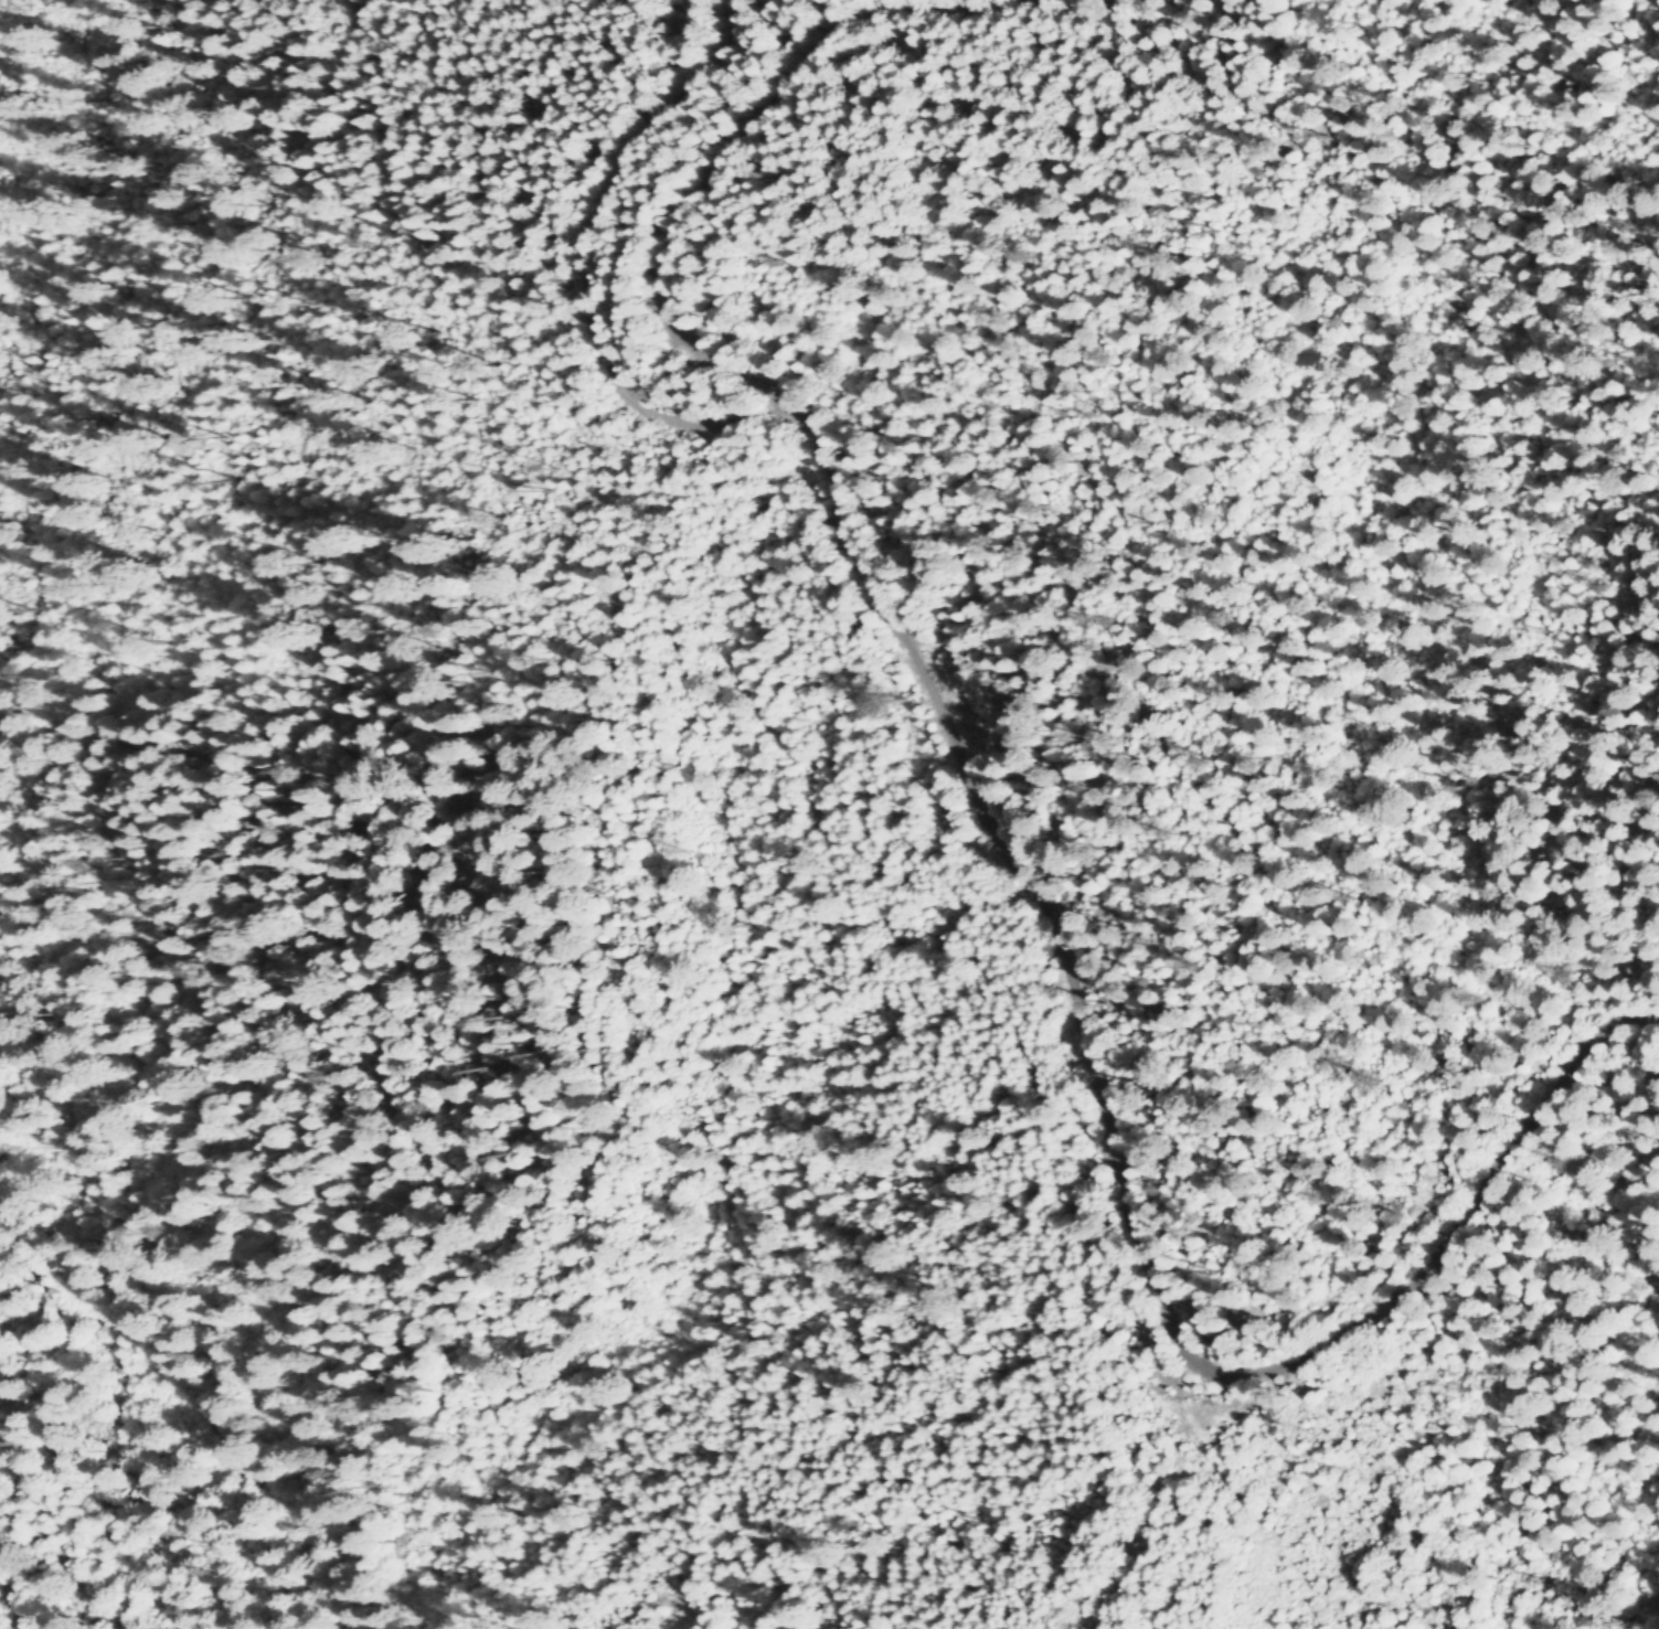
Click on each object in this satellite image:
road: (584, 264)
road: (1001, 865)
road: (13, 1601)

